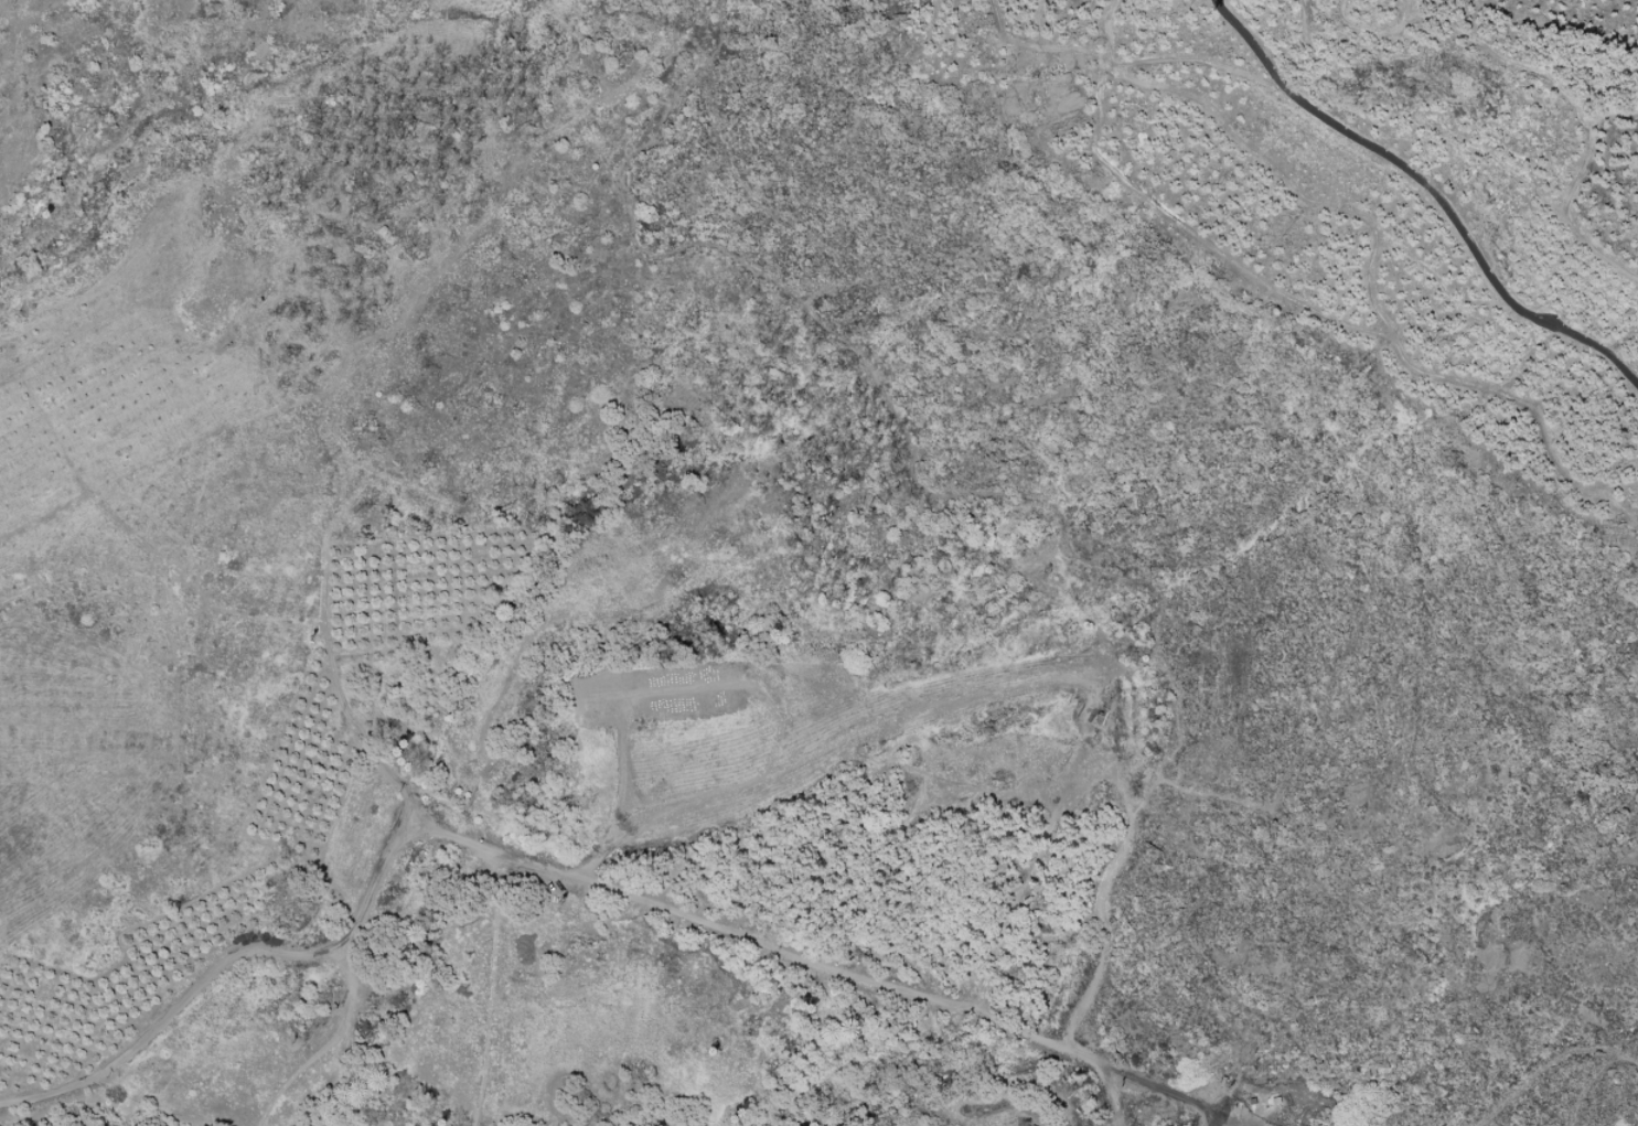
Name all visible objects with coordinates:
road: (1431, 191)
road: (579, 878)
road: (328, 1047)

